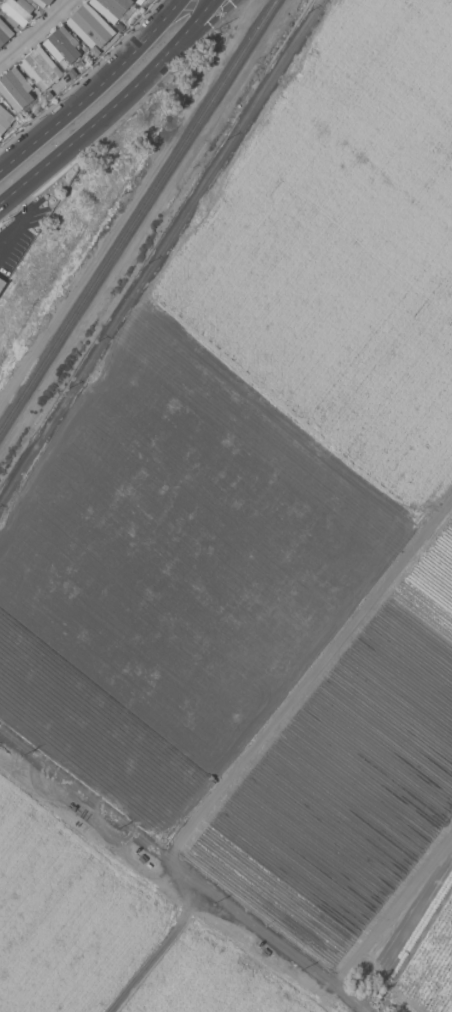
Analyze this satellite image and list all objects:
building: (41, 2)
building: (112, 8)
building: (17, 12)
road: (213, 20)
building: (89, 26)
road: (34, 30)
building: (4, 33)
building: (61, 46)
building: (39, 68)
road: (81, 77)
road: (92, 88)
building: (15, 90)
road: (111, 107)
building: (4, 119)
building: (0, 140)
road: (2, 161)
railway: (136, 213)
road: (20, 216)
building: (1, 283)
crop: (249, 572)
road: (305, 677)
road: (100, 817)
road: (154, 952)
road: (280, 952)

